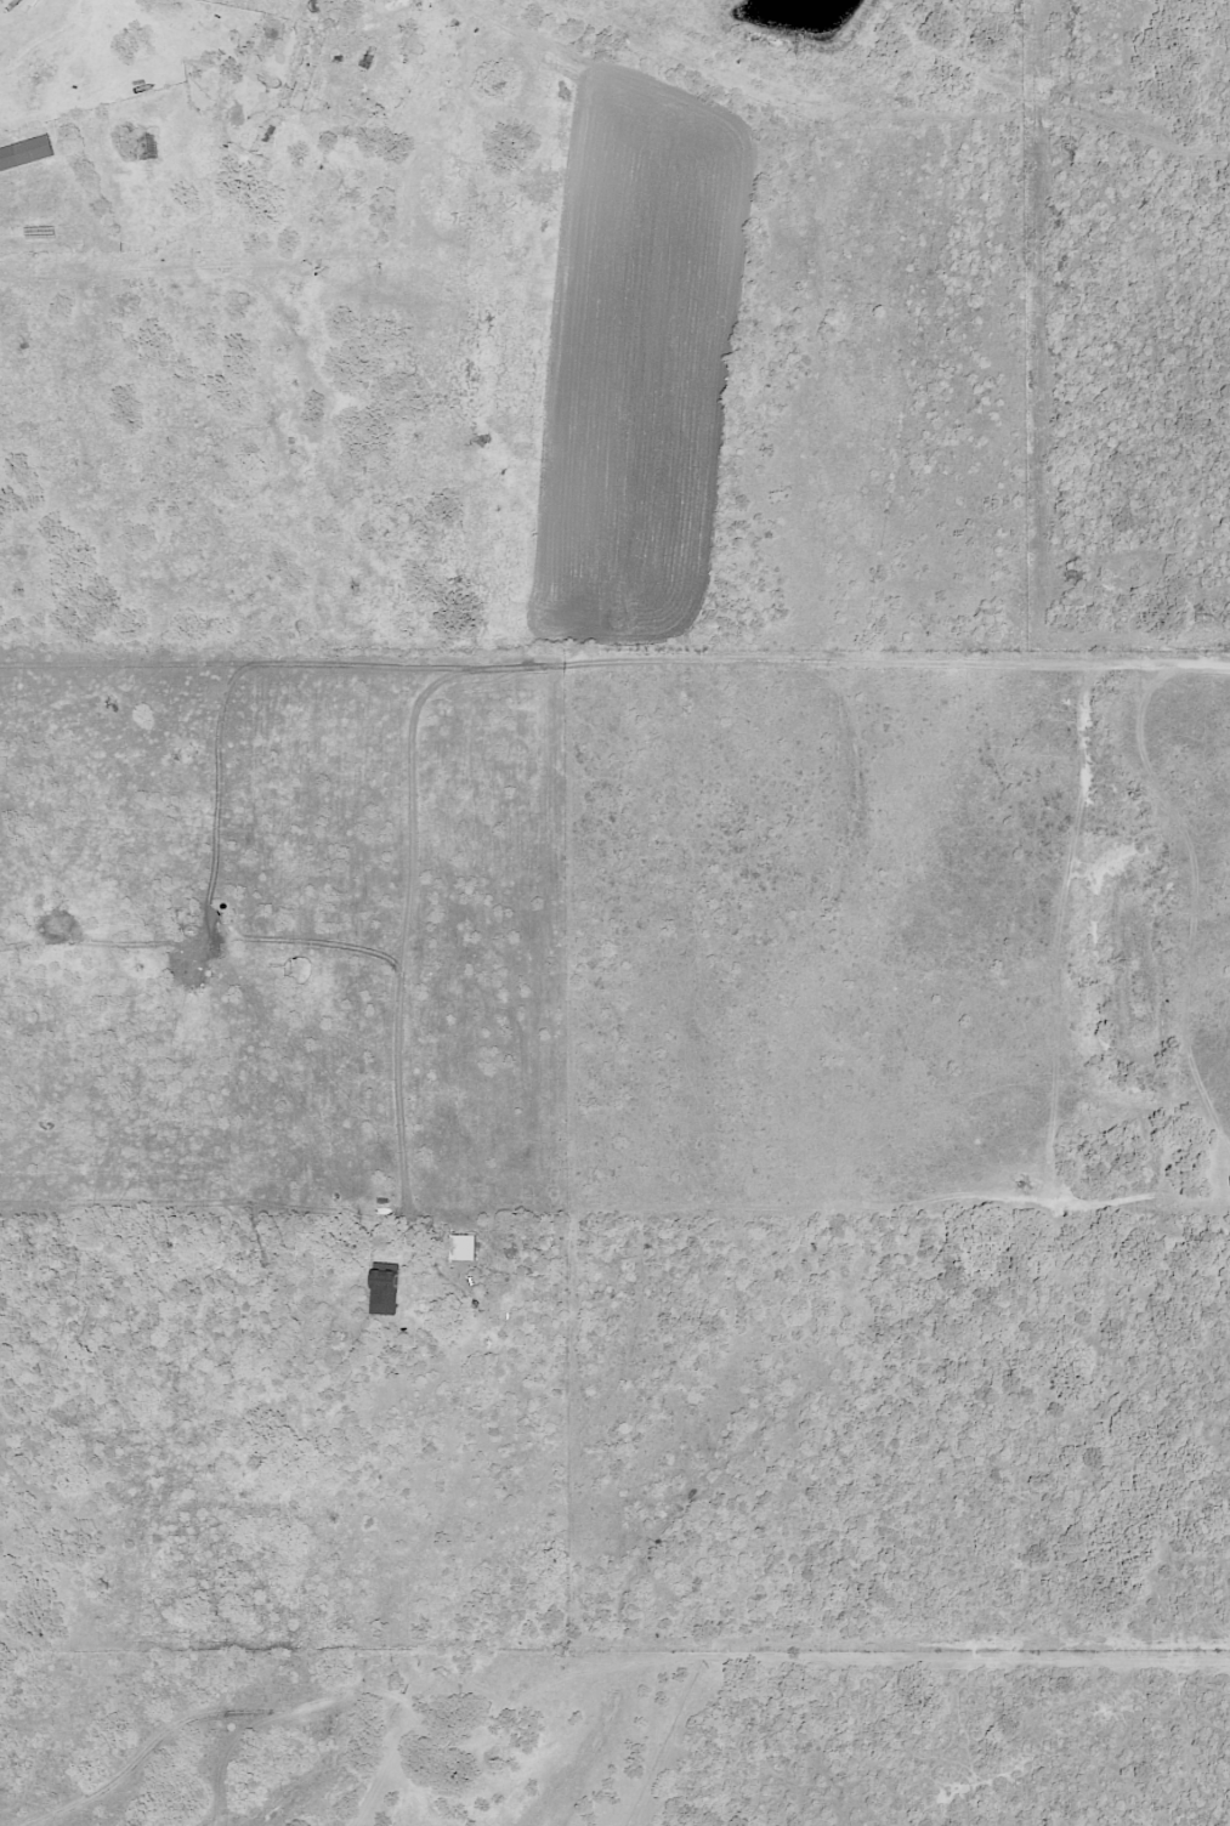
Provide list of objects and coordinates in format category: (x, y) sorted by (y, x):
building: (27, 153)
road: (584, 657)
building: (463, 1247)
building: (384, 1292)
road: (319, 1717)

